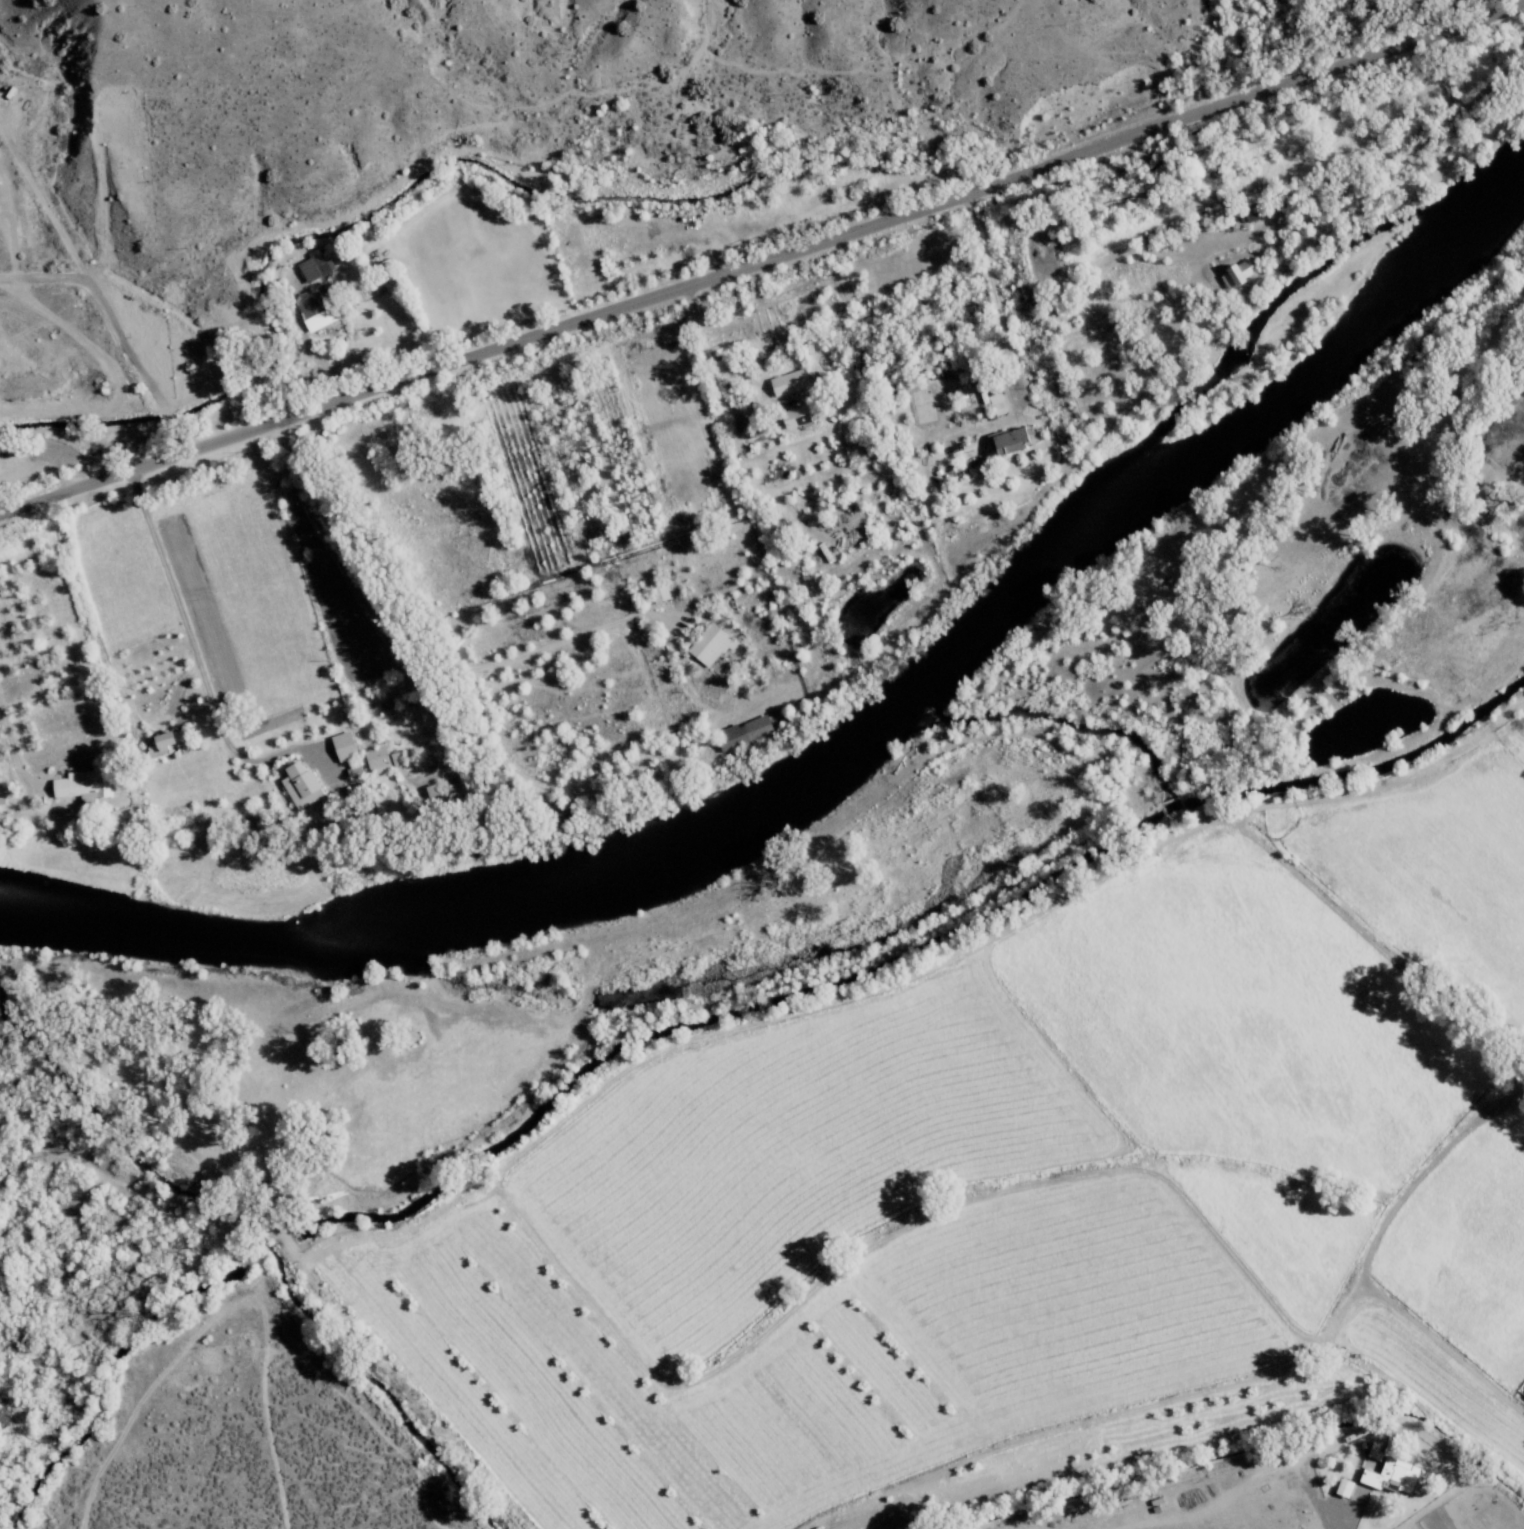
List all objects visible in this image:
road: (1104, 68)
building: (1245, 214)
road: (762, 261)
building: (310, 266)
building: (1233, 272)
building: (312, 314)
building: (785, 382)
building: (992, 401)
building: (790, 417)
building: (1003, 441)
building: (655, 592)
building: (706, 644)
building: (738, 732)
building: (153, 740)
building: (338, 743)
building: (372, 759)
building: (78, 784)
building: (295, 784)
river: (852, 786)
building: (427, 793)
building: (1387, 1475)
building: (1339, 1487)
road: (1429, 1503)
road: (346, 1504)

